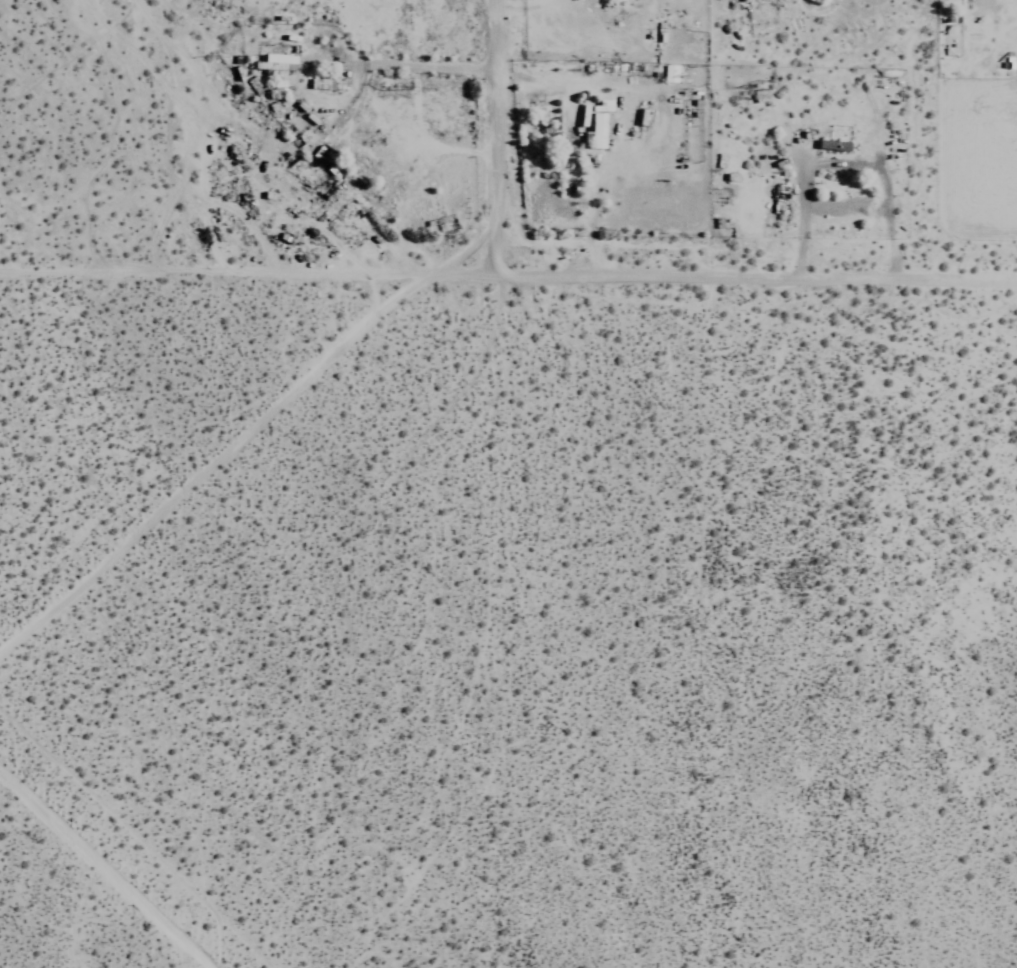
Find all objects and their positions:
building: (274, 63)
road: (382, 64)
building: (273, 97)
building: (593, 130)
road: (503, 134)
road: (424, 142)
building: (831, 145)
road: (508, 268)
road: (223, 460)
road: (101, 870)

